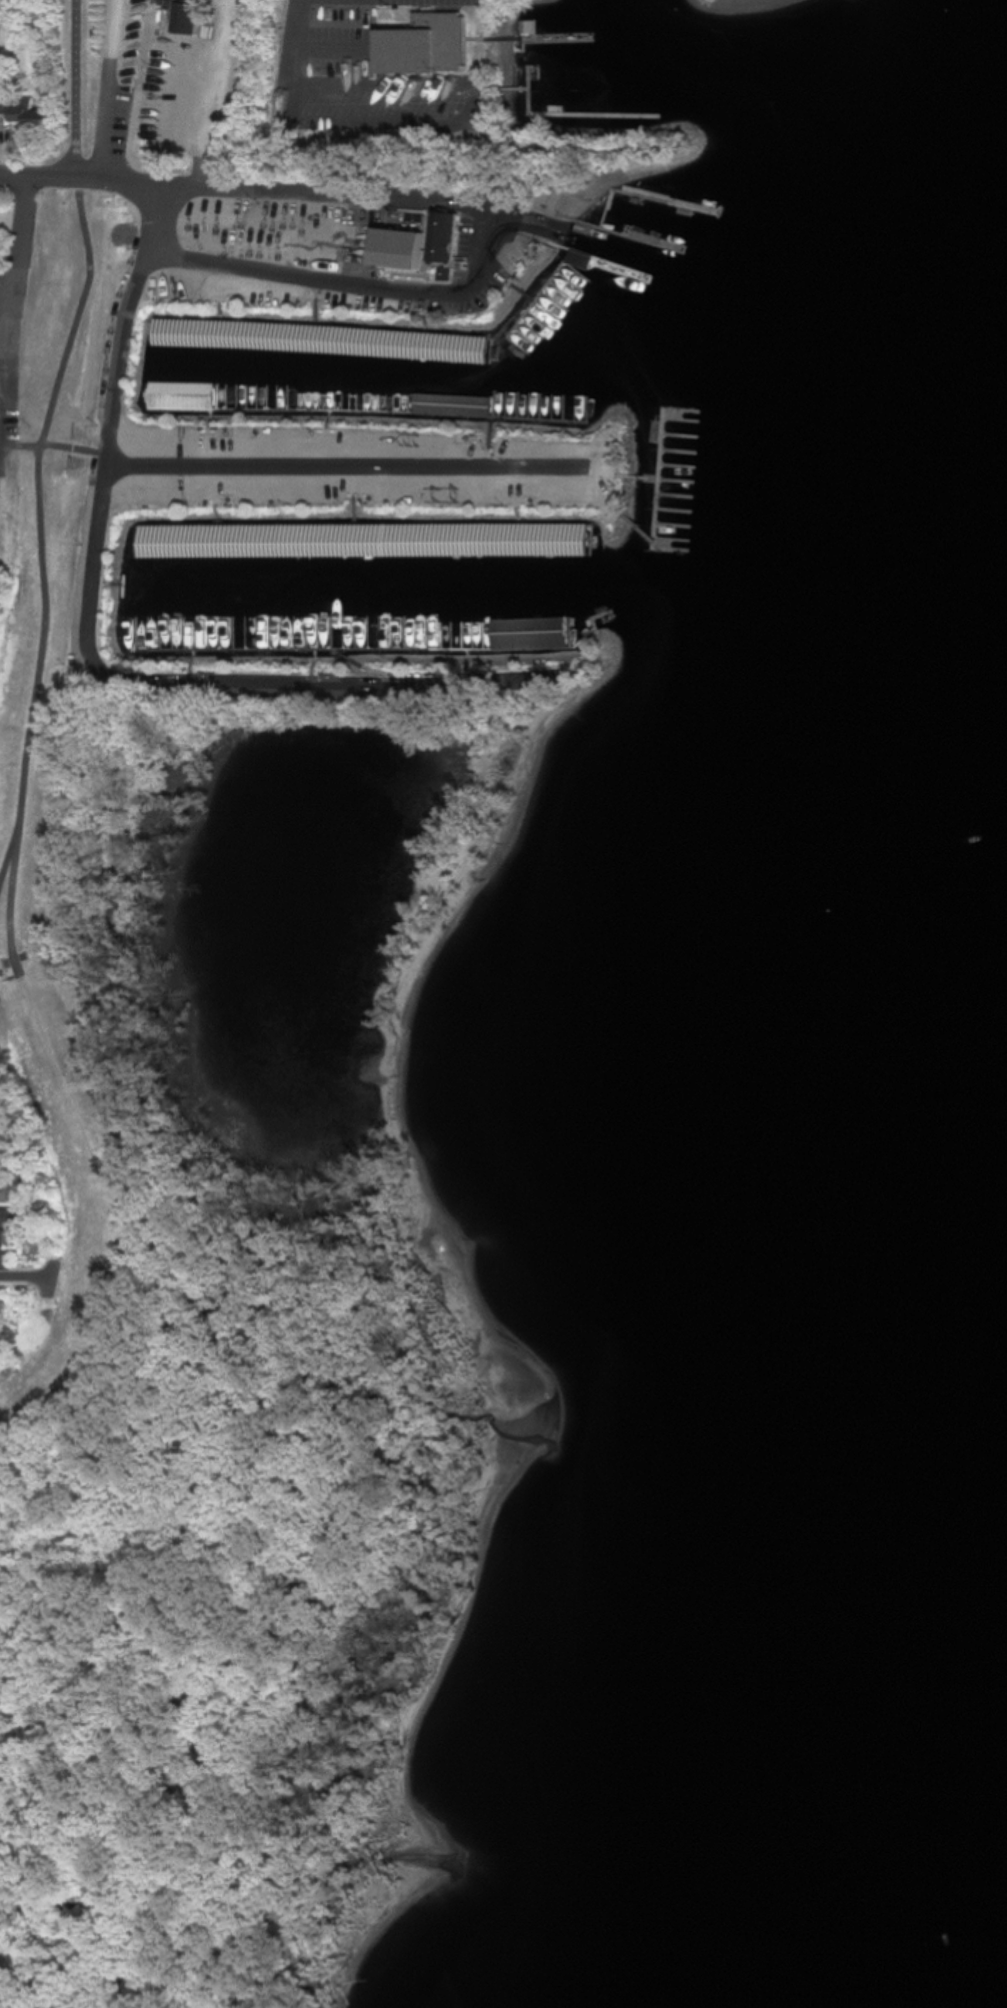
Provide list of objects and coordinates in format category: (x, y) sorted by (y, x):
building: (185, 18)
building: (426, 44)
road: (293, 60)
building: (560, 60)
road: (108, 89)
building: (563, 98)
building: (22, 112)
road: (371, 120)
road: (209, 188)
building: (446, 238)
building: (401, 248)
road: (384, 287)
road: (11, 310)
building: (582, 322)
building: (295, 358)
building: (445, 404)
road: (40, 442)
road: (55, 445)
building: (182, 577)
road: (93, 605)
building: (534, 633)
building: (4, 1191)
building: (6, 1225)
road: (23, 1277)

